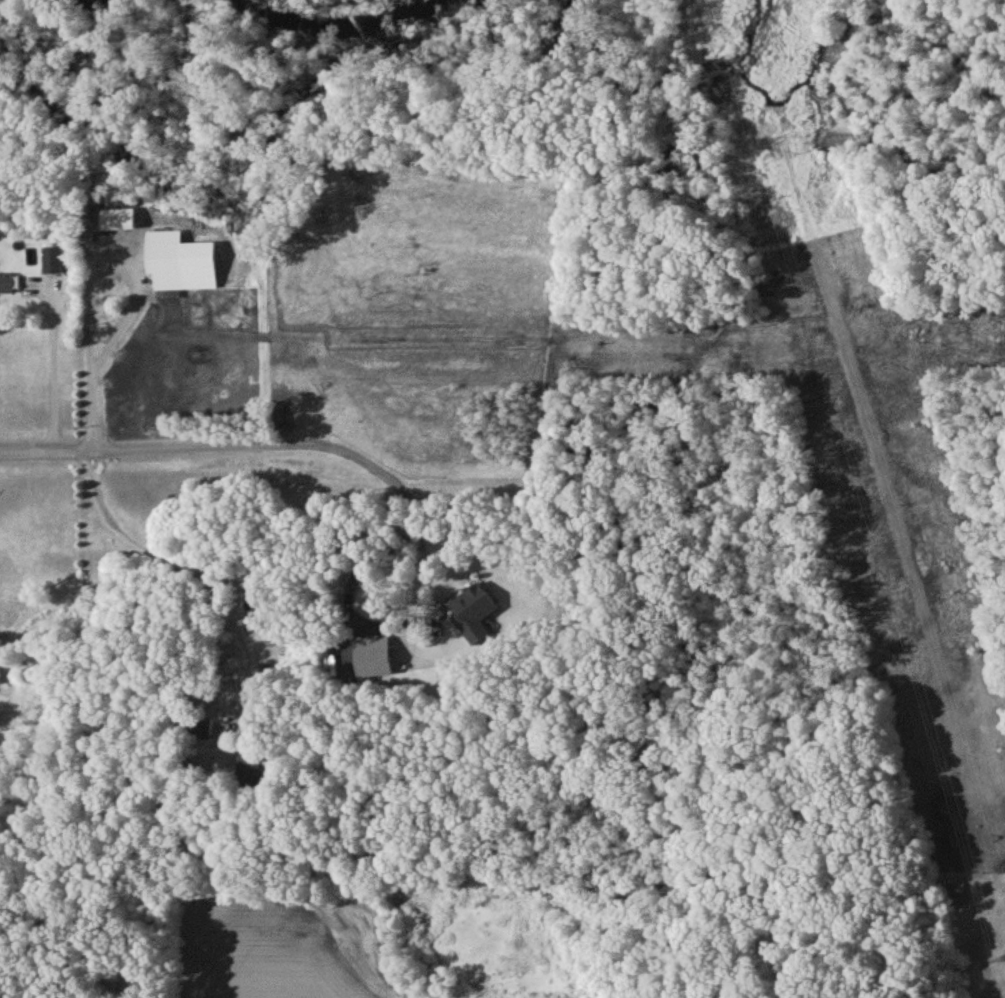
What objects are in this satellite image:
power tower: (784, 150)
building: (53, 263)
road: (89, 270)
building: (6, 287)
road: (53, 374)
road: (130, 449)
road: (422, 550)
road: (194, 551)
road: (352, 592)
building: (0, 679)

